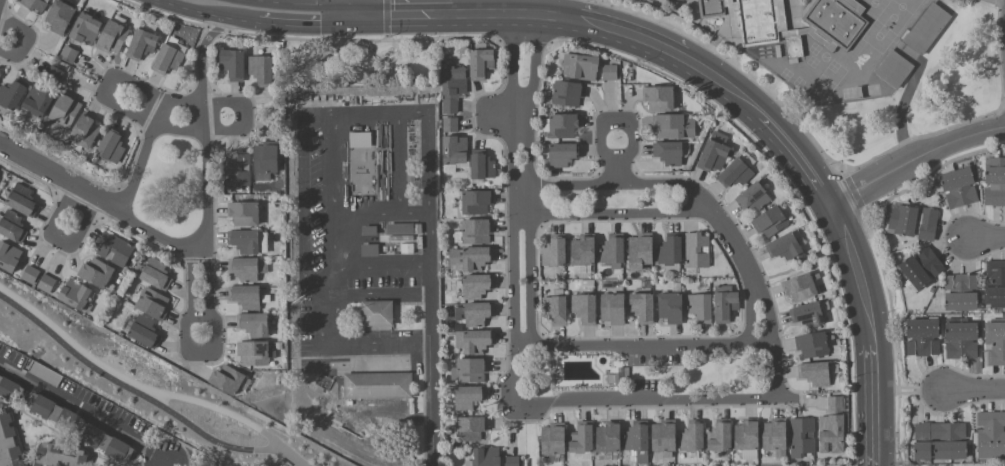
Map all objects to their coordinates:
building: (671, 0)
road: (1, 3)
road: (310, 3)
building: (35, 4)
road: (356, 8)
building: (710, 8)
road: (561, 9)
park: (972, 10)
road: (206, 13)
road: (404, 15)
road: (505, 15)
building: (61, 16)
road: (385, 20)
building: (756, 22)
building: (835, 22)
road: (307, 24)
building: (86, 29)
building: (926, 29)
building: (113, 38)
road: (23, 41)
building: (142, 44)
building: (176, 44)
building: (793, 47)
road: (667, 50)
building: (67, 54)
road: (200, 56)
building: (168, 57)
building: (480, 63)
building: (233, 64)
building: (582, 67)
building: (262, 70)
building: (893, 70)
building: (609, 73)
building: (54, 75)
building: (452, 87)
building: (568, 93)
building: (13, 94)
building: (658, 98)
building: (39, 101)
building: (66, 110)
road: (242, 111)
building: (450, 125)
building: (561, 126)
building: (673, 126)
building: (85, 131)
road: (628, 131)
building: (359, 139)
building: (112, 146)
building: (454, 150)
building: (669, 153)
building: (714, 153)
building: (563, 154)
road: (139, 156)
road: (798, 157)
road: (916, 159)
building: (265, 161)
building: (481, 166)
building: (237, 168)
building: (735, 174)
road: (60, 178)
road: (204, 178)
building: (995, 183)
road: (334, 186)
building: (958, 188)
building: (752, 197)
building: (22, 201)
building: (476, 202)
road: (521, 209)
building: (244, 214)
road: (713, 220)
building: (770, 222)
building: (913, 222)
building: (12, 227)
building: (400, 229)
building: (369, 231)
building: (476, 231)
road: (154, 238)
road: (986, 239)
road: (61, 240)
building: (248, 242)
building: (784, 247)
building: (405, 248)
building: (114, 249)
building: (583, 250)
building: (670, 250)
building: (369, 251)
building: (612, 251)
building: (696, 251)
building: (554, 252)
building: (640, 252)
building: (9, 257)
building: (471, 258)
road: (383, 262)
building: (921, 268)
building: (247, 269)
building: (29, 274)
building: (97, 274)
building: (155, 274)
road: (206, 276)
road: (189, 283)
building: (46, 284)
building: (995, 285)
building: (476, 286)
building: (800, 287)
road: (864, 287)
road: (432, 289)
building: (960, 293)
building: (77, 296)
building: (245, 297)
building: (152, 304)
building: (725, 304)
building: (642, 307)
building: (670, 308)
building: (700, 308)
building: (584, 309)
building: (612, 309)
building: (555, 310)
building: (376, 313)
building: (475, 314)
building: (808, 316)
building: (254, 324)
building: (144, 332)
building: (922, 337)
road: (644, 339)
building: (960, 339)
building: (474, 341)
building: (995, 343)
building: (812, 345)
road: (195, 351)
road: (385, 351)
building: (254, 353)
building: (470, 371)
building: (45, 374)
building: (815, 374)
building: (227, 380)
road: (120, 383)
road: (131, 383)
park: (147, 384)
building: (377, 386)
building: (10, 390)
road: (975, 390)
road: (911, 391)
building: (465, 397)
road: (654, 403)
building: (836, 404)
road: (83, 413)
road: (877, 421)
building: (80, 428)
building: (470, 429)
building: (831, 433)
building: (991, 435)
building: (663, 436)
building: (692, 437)
building: (719, 437)
building: (774, 437)
building: (609, 438)
building: (581, 439)
building: (747, 439)
building: (801, 439)
building: (553, 440)
building: (940, 441)
building: (8, 442)
building: (637, 442)
road: (279, 449)
building: (59, 455)
building: (485, 457)
building: (512, 461)

